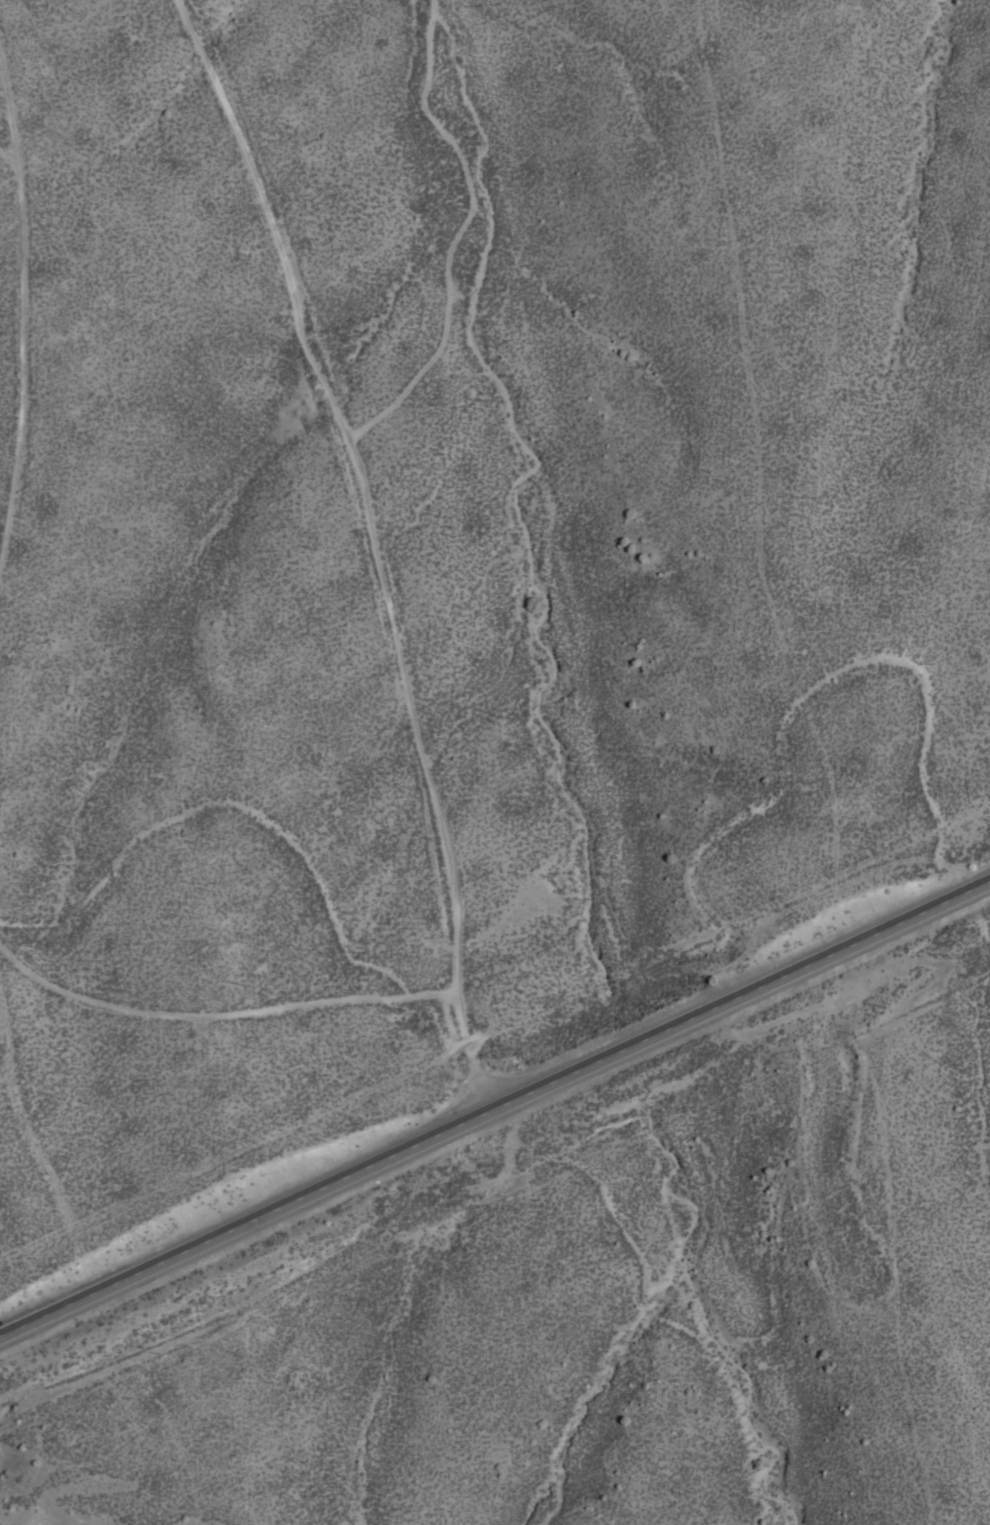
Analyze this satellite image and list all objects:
road: (22, 313)
road: (367, 482)
road: (220, 1006)
road: (495, 1107)

